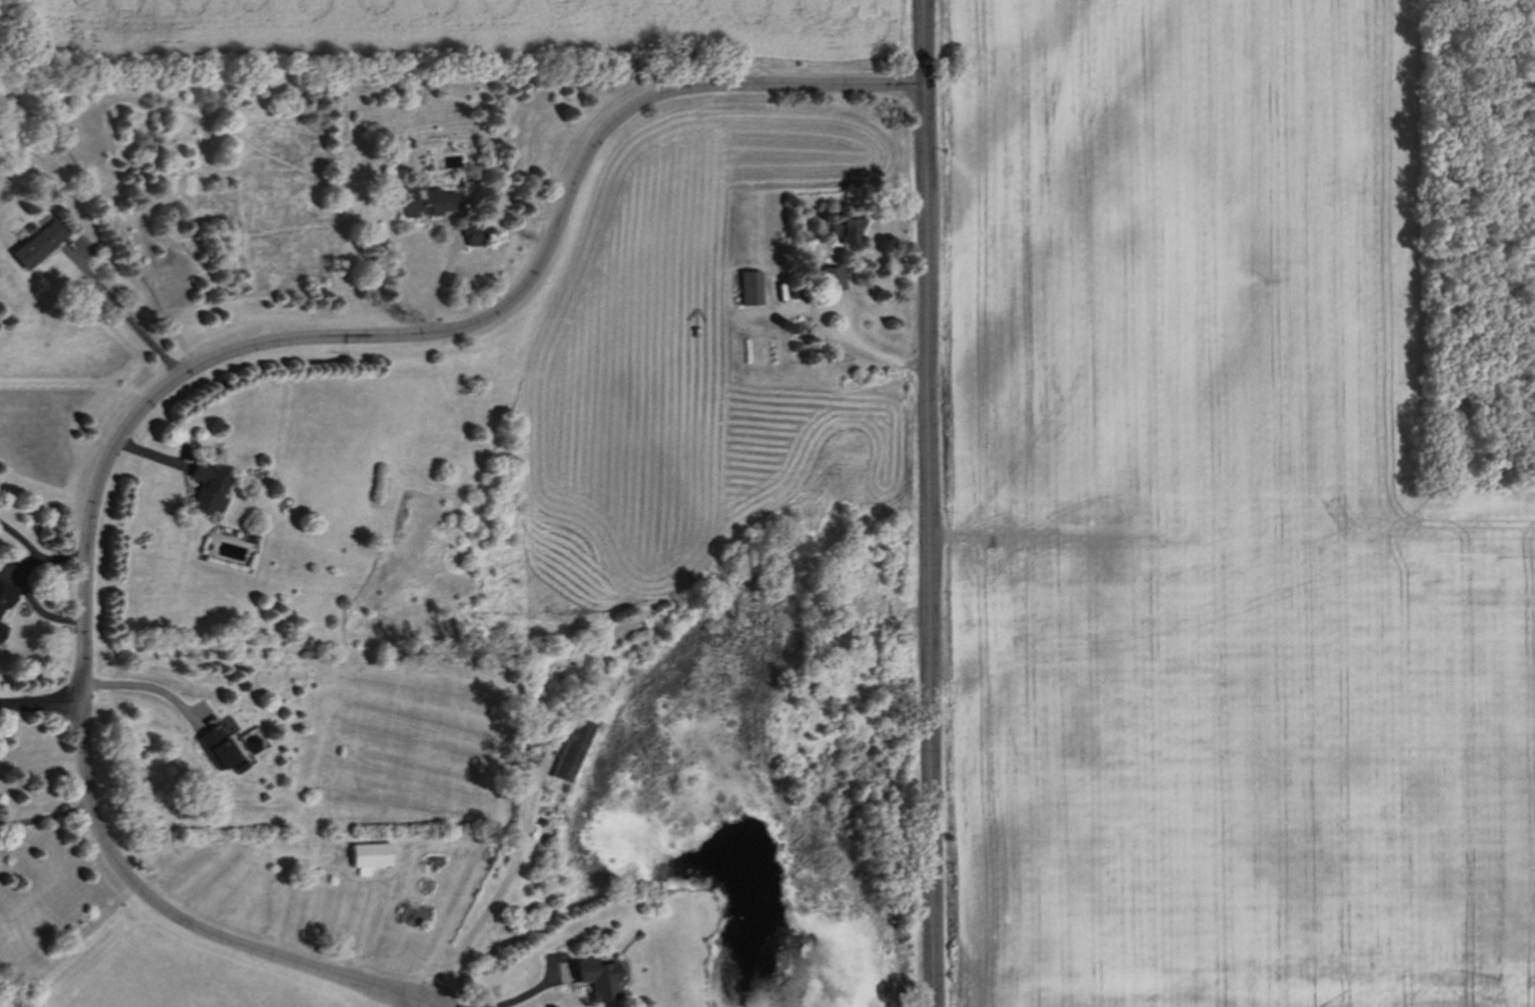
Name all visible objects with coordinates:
building: (846, 230)
building: (474, 235)
building: (39, 245)
road: (439, 273)
building: (832, 280)
building: (752, 288)
road: (130, 315)
road: (867, 351)
road: (180, 372)
building: (209, 489)
road: (926, 503)
road: (20, 537)
road: (21, 580)
building: (5, 602)
road: (144, 687)
road: (39, 701)
building: (220, 744)
building: (572, 750)
road: (47, 817)
building: (371, 857)
road: (499, 890)
building: (598, 979)
road: (533, 993)
road: (419, 1003)
road: (426, 1003)
road: (436, 1003)

